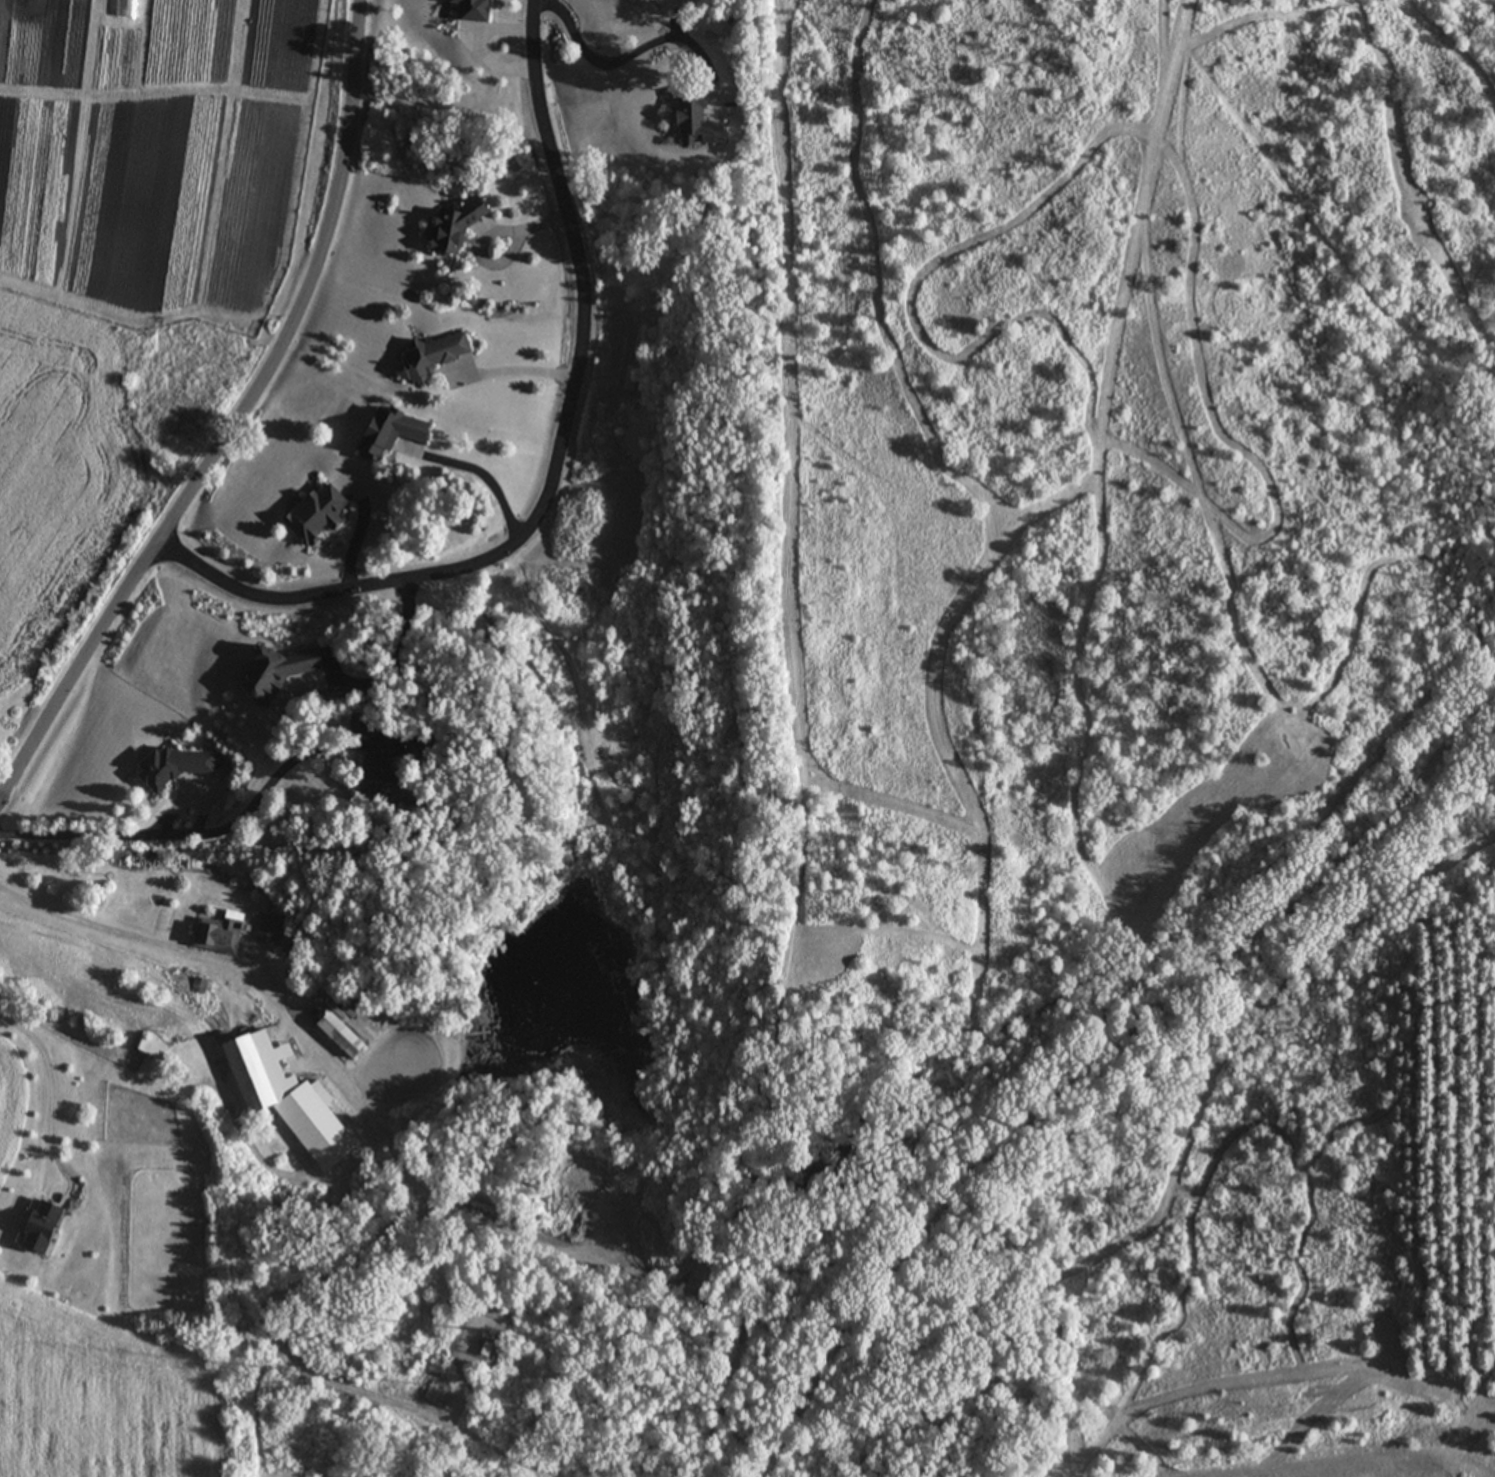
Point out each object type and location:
building: (127, 9)
building: (468, 10)
road: (636, 48)
building: (694, 123)
building: (446, 227)
road: (494, 234)
building: (423, 357)
road: (526, 366)
road: (241, 427)
building: (383, 432)
road: (563, 452)
road: (486, 475)
building: (311, 515)
road: (399, 640)
building: (270, 672)
park: (1115, 752)
building: (166, 767)
building: (368, 771)
road: (112, 835)
building: (273, 930)
road: (132, 934)
building: (219, 936)
building: (339, 1035)
road: (51, 1086)
building: (283, 1105)
building: (35, 1227)
building: (480, 1349)
building: (437, 1400)
park: (272, 1457)

